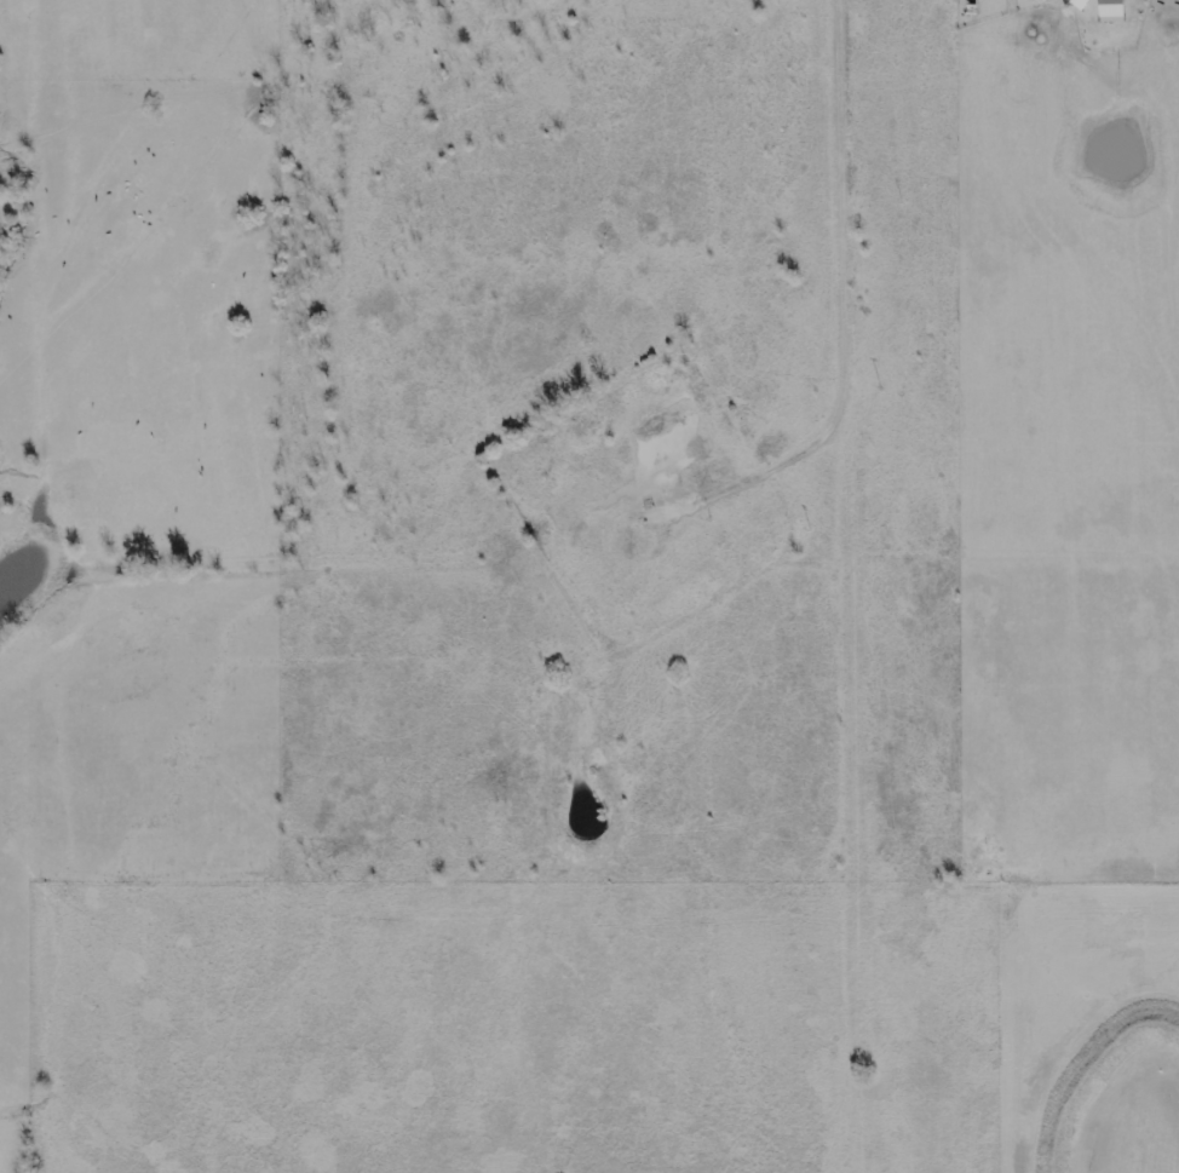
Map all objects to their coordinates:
building: (1086, 4)
building: (1117, 11)
road: (847, 15)

